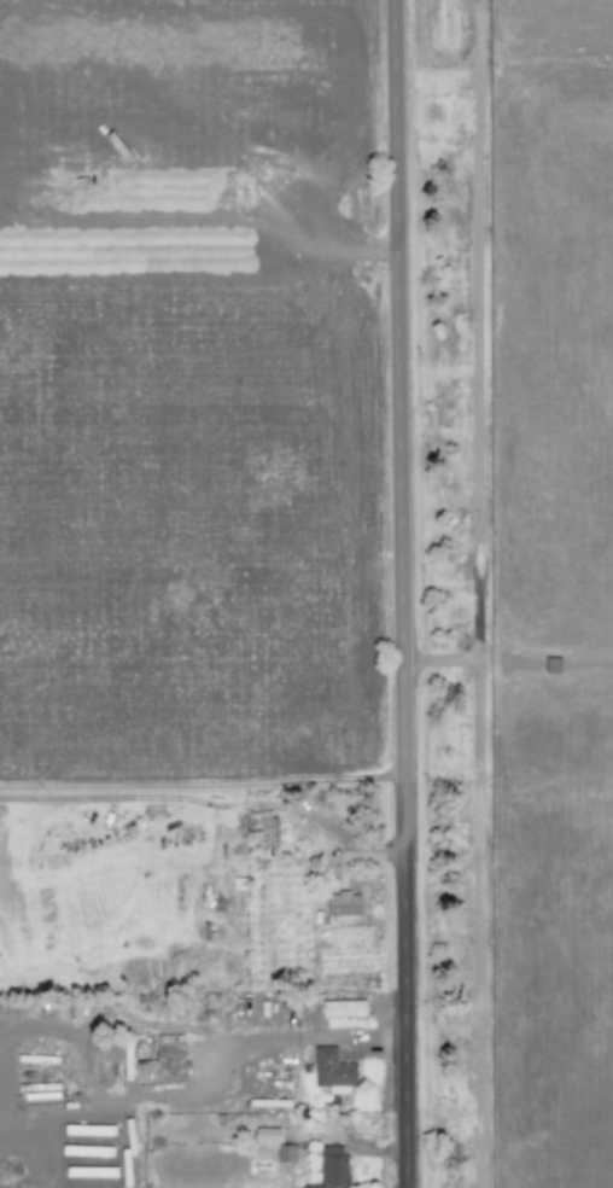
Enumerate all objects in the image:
road: (404, 593)
road: (479, 594)
road: (508, 666)
road: (203, 781)
building: (269, 832)
building: (346, 902)
building: (349, 1008)
road: (317, 1037)
building: (164, 1054)
building: (337, 1068)
building: (273, 1134)
building: (291, 1153)
building: (341, 1167)

